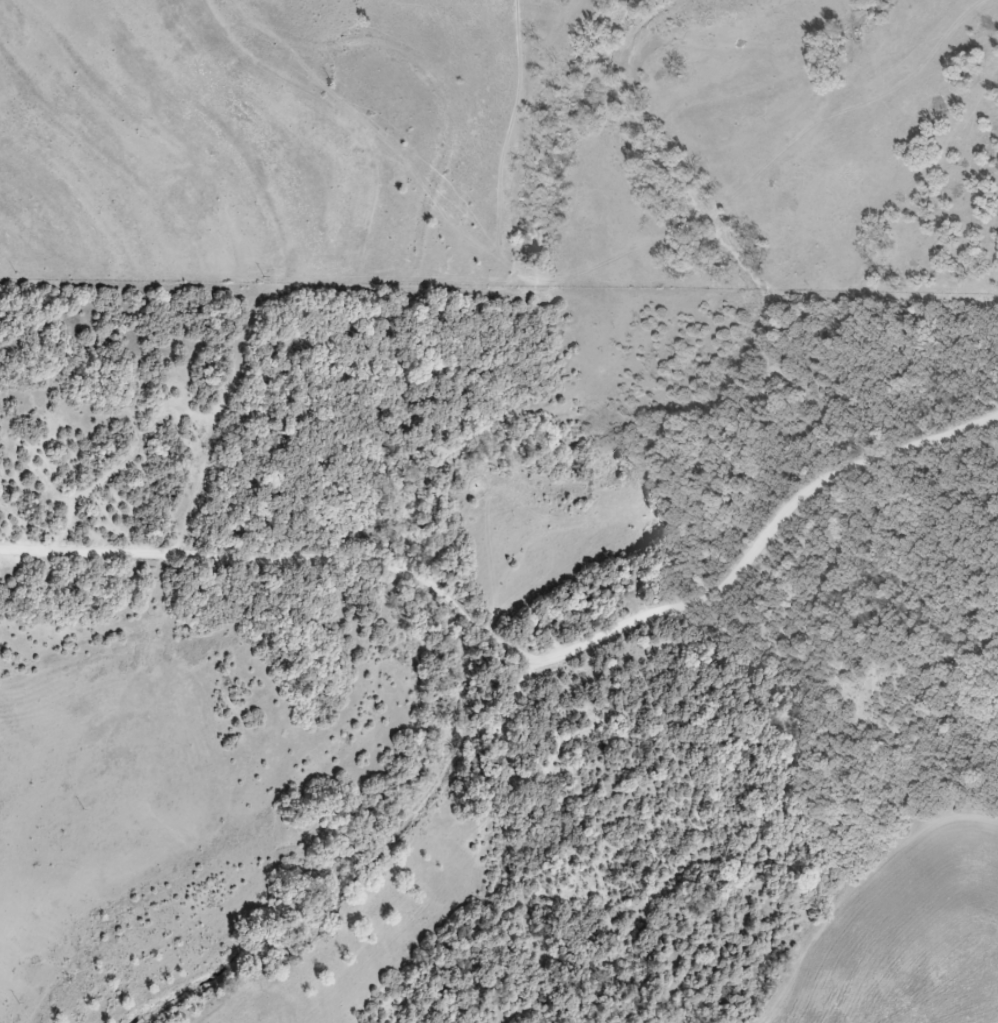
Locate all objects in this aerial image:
road: (520, 624)

